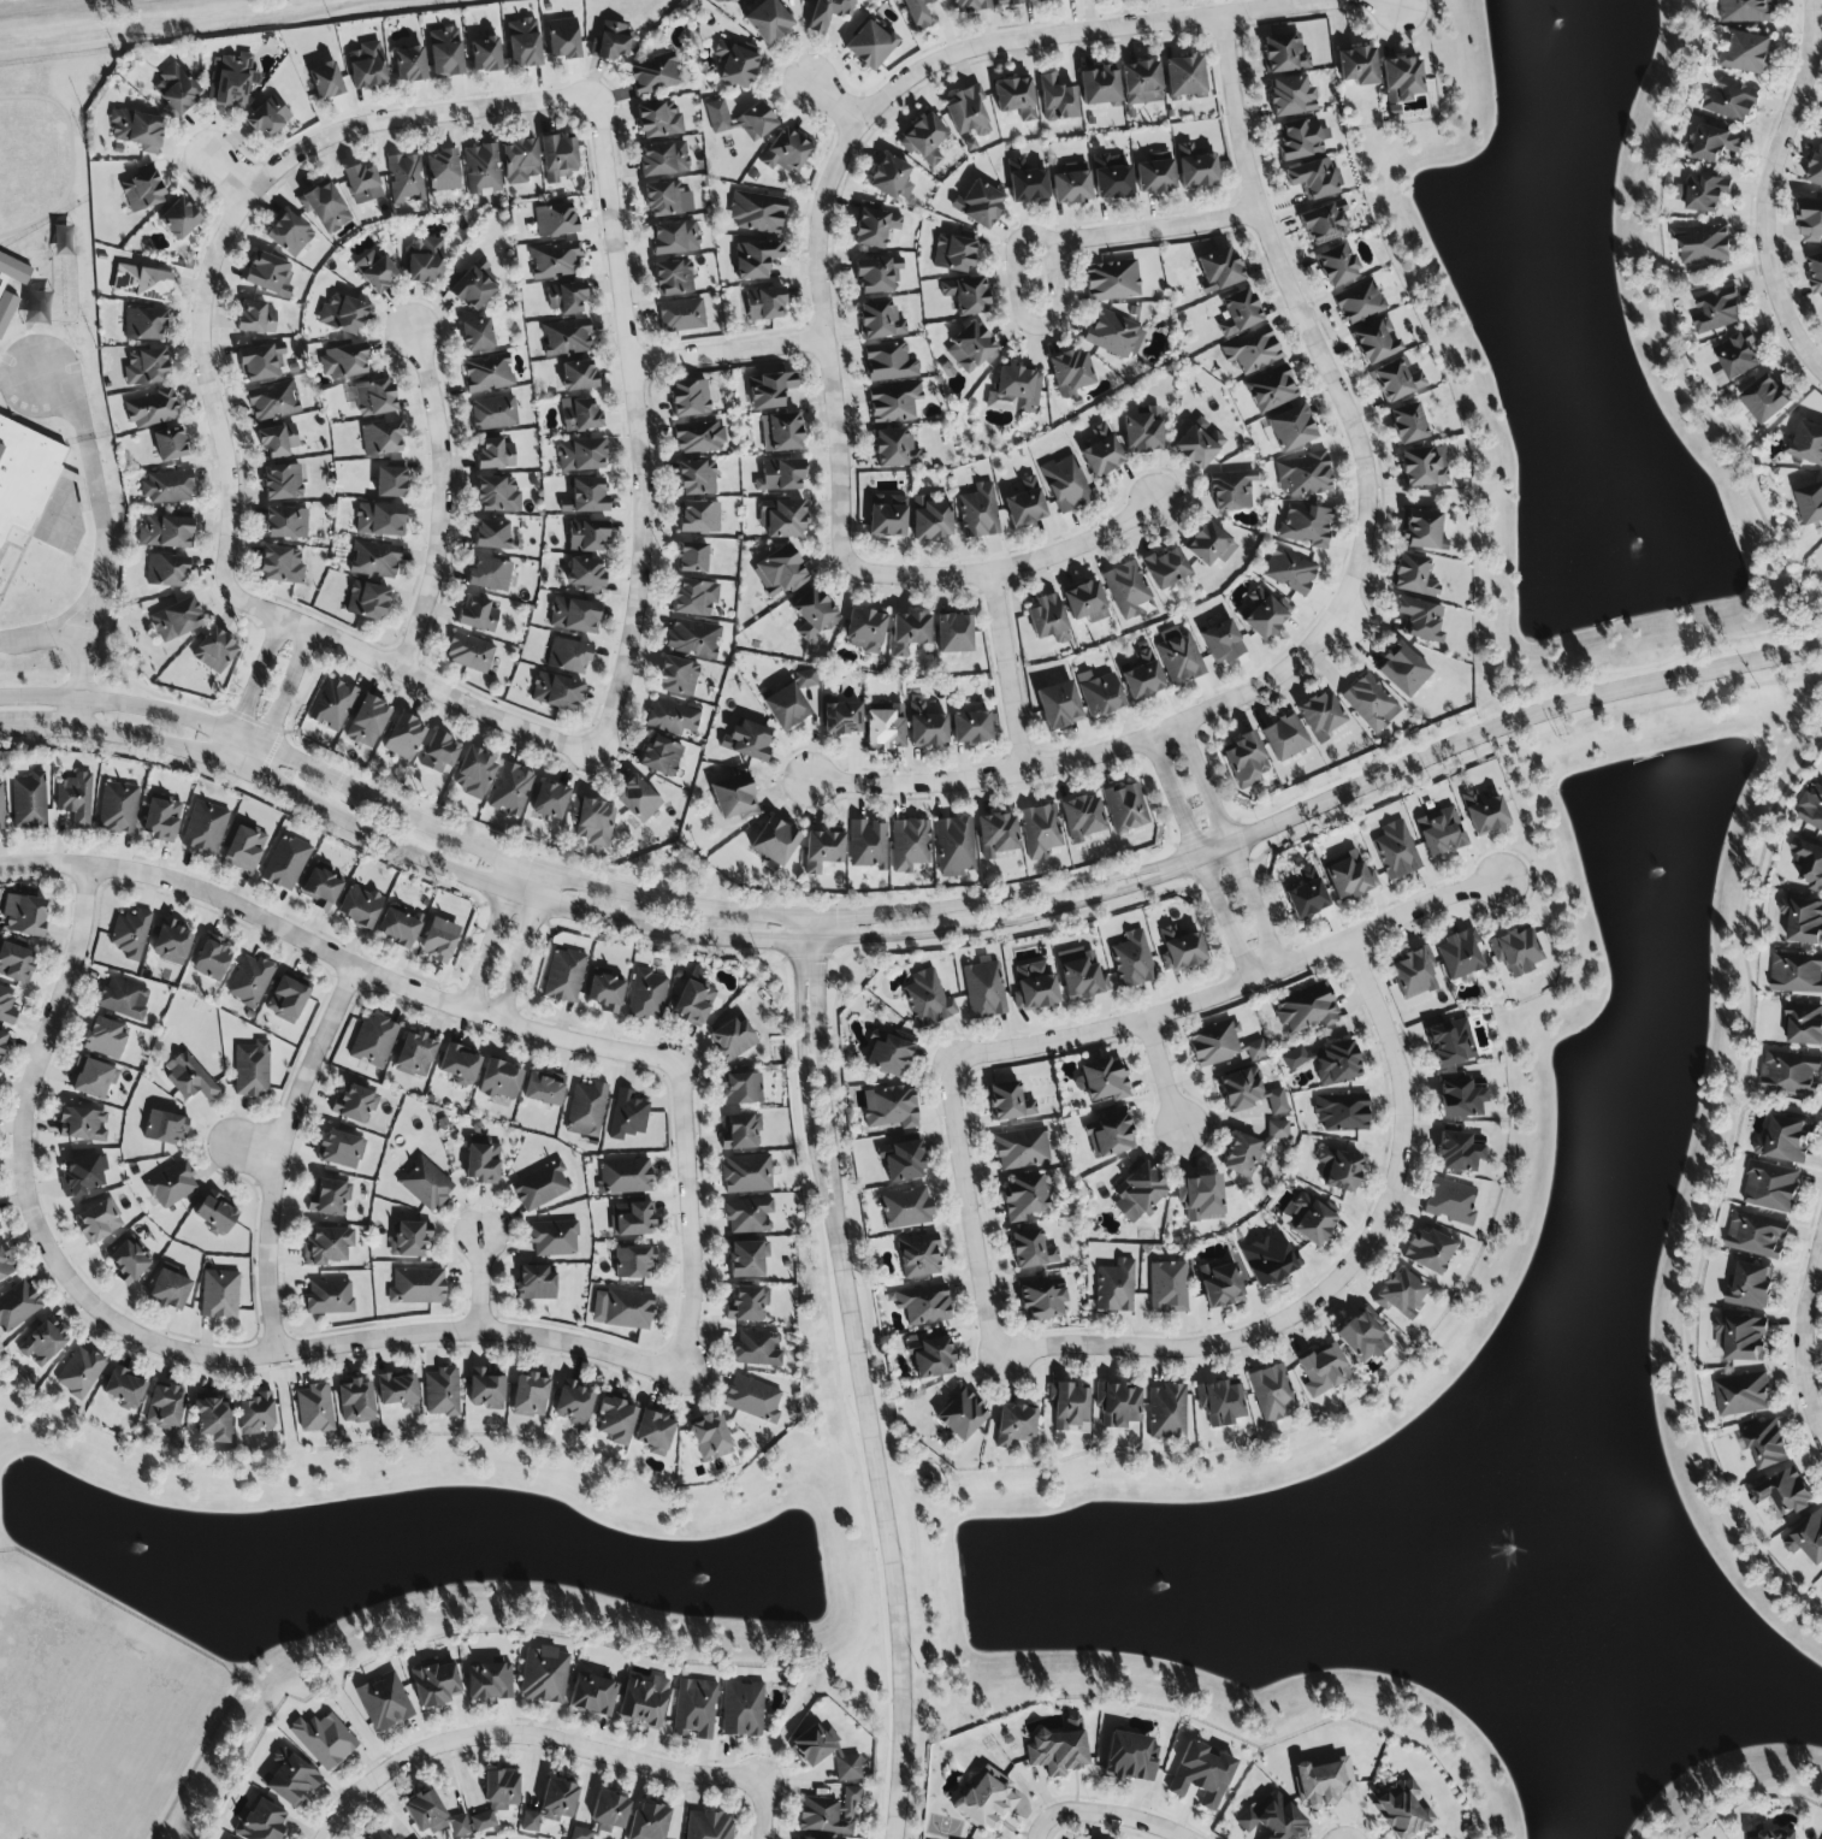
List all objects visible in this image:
building: (1043, 0)
road: (1390, 1)
road: (1402, 1)
building: (1011, 2)
building: (970, 6)
building: (1747, 11)
building: (828, 13)
building: (917, 13)
building: (768, 20)
fountain: (1567, 24)
road: (1092, 30)
road: (199, 32)
building: (562, 39)
building: (611, 42)
building: (523, 43)
building: (869, 45)
building: (444, 53)
building: (484, 54)
building: (1283, 54)
building: (1747, 54)
building: (409, 64)
building: (737, 64)
building: (366, 65)
building: (1357, 66)
building: (653, 75)
building: (1184, 77)
building: (233, 79)
building: (1402, 79)
building: (325, 81)
building: (1141, 83)
building: (1099, 87)
building: (176, 90)
building: (1290, 96)
building: (1014, 97)
building: (1055, 99)
road: (832, 101)
building: (1731, 102)
building: (968, 113)
building: (268, 117)
road: (413, 118)
building: (739, 119)
building: (658, 120)
building: (136, 130)
building: (1301, 138)
building: (1821, 138)
building: (923, 140)
building: (1716, 143)
building: (786, 152)
building: (557, 156)
building: (663, 159)
building: (520, 161)
building: (1195, 167)
road: (235, 168)
building: (483, 170)
building: (1816, 170)
building: (442, 171)
building: (1155, 173)
building: (404, 178)
building: (891, 178)
building: (1111, 178)
building: (1312, 178)
building: (1025, 183)
building: (362, 184)
building: (1071, 184)
road: (1767, 189)
building: (142, 191)
building: (1703, 194)
building: (667, 199)
building: (978, 205)
building: (325, 208)
building: (756, 212)
building: (178, 219)
building: (555, 220)
building: (1810, 221)
building: (1324, 223)
building: (875, 226)
road: (1152, 230)
building: (289, 233)
building: (673, 237)
building: (1702, 244)
building: (953, 253)
building: (755, 259)
building: (425, 260)
building: (555, 260)
building: (1336, 266)
building: (1218, 270)
building: (268, 273)
building: (375, 273)
building: (876, 274)
building: (1816, 274)
building: (673, 278)
building: (1111, 280)
road: (1714, 280)
building: (141, 283)
building: (473, 286)
building: (5, 295)
building: (966, 295)
building: (566, 297)
building: (1359, 302)
building: (764, 303)
building: (1238, 312)
building: (1717, 312)
building: (342, 314)
building: (681, 315)
road: (1023, 317)
building: (256, 318)
building: (880, 320)
building: (143, 324)
building: (477, 335)
building: (1113, 335)
building: (566, 337)
road: (823, 339)
road: (1670, 339)
building: (1376, 342)
building: (970, 349)
building: (1252, 350)
road: (728, 353)
building: (1738, 356)
building: (261, 361)
building: (342, 361)
building: (889, 362)
building: (146, 367)
building: (487, 373)
building: (1070, 373)
road: (1329, 374)
building: (578, 376)
building: (1396, 380)
road: (206, 382)
building: (1271, 389)
building: (769, 390)
building: (1014, 390)
building: (374, 397)
building: (690, 398)
building: (1765, 400)
building: (895, 403)
building: (150, 409)
building: (493, 413)
building: (580, 415)
building: (1407, 424)
road: (637, 426)
building: (1291, 428)
building: (1142, 430)
building: (781, 432)
building: (698, 437)
building: (381, 438)
building: (277, 440)
building: (168, 444)
building: (1199, 444)
building: (1806, 444)
building: (894, 449)
building: (1101, 451)
building: (495, 455)
building: (580, 455)
building: (1422, 467)
building: (24, 474)
building: (1303, 474)
building: (781, 475)
building: (697, 478)
building: (282, 481)
building: (390, 483)
building: (1065, 484)
building: (166, 487)
building: (1231, 490)
building: (497, 495)
building: (585, 496)
road: (440, 502)
building: (1025, 503)
building: (1810, 504)
building: (978, 512)
building: (699, 518)
building: (781, 518)
building: (887, 519)
building: (930, 519)
building: (379, 520)
building: (285, 522)
building: (1306, 526)
building: (1421, 531)
building: (165, 532)
fountain: (1633, 532)
building: (491, 534)
building: (586, 534)
road: (103, 544)
building: (1208, 544)
building: (692, 557)
building: (374, 560)
building: (280, 564)
road: (1007, 568)
building: (1165, 568)
building: (166, 570)
building: (1289, 570)
building: (780, 572)
building: (490, 574)
building: (586, 574)
building: (1413, 575)
building: (1125, 589)
building: (694, 597)
building: (366, 601)
building: (1084, 602)
building: (1261, 614)
building: (477, 615)
building: (574, 615)
building: (812, 615)
building: (1047, 619)
building: (176, 620)
building: (1419, 620)
building: (864, 631)
building: (909, 632)
building: (953, 633)
road: (40, 634)
building: (692, 638)
building: (1221, 643)
building: (214, 651)
building: (469, 654)
building: (568, 656)
building: (1178, 656)
building: (1401, 669)
road: (1006, 673)
road: (408, 674)
building: (1141, 675)
building: (678, 676)
building: (805, 679)
road: (253, 688)
building: (556, 692)
building: (1099, 693)
road: (285, 700)
building: (332, 703)
building: (1371, 703)
building: (1058, 705)
building: (786, 706)
building: (672, 716)
building: (1320, 716)
building: (841, 717)
building: (367, 722)
building: (925, 725)
building: (885, 726)
road: (1502, 726)
building: (970, 727)
building: (403, 738)
building: (1283, 738)
building: (747, 741)
building: (438, 753)
building: (661, 756)
building: (1244, 761)
road: (1037, 770)
building: (474, 774)
road: (1206, 785)
building: (510, 790)
building: (734, 797)
building: (75, 799)
building: (638, 799)
road: (1176, 799)
building: (29, 800)
building: (549, 800)
building: (1125, 808)
building: (117, 809)
building: (1, 810)
building: (1811, 810)
road: (400, 812)
building: (1484, 812)
building: (1081, 817)
building: (161, 818)
building: (592, 821)
building: (205, 828)
building: (1040, 830)
building: (1441, 832)
building: (995, 835)
road: (394, 841)
building: (774, 841)
building: (953, 844)
building: (866, 845)
building: (909, 845)
building: (244, 848)
building: (822, 850)
building: (1396, 851)
building: (285, 863)
building: (1809, 864)
building: (1348, 876)
fountain: (1657, 881)
building: (320, 888)
building: (1306, 894)
road: (1005, 897)
building: (359, 906)
road: (1258, 909)
building: (24, 915)
building: (1803, 921)
road: (1001, 922)
road: (1226, 922)
building: (397, 928)
building: (130, 934)
road: (490, 935)
building: (438, 940)
building: (172, 942)
road: (525, 945)
building: (1179, 950)
building: (1515, 951)
building: (1459, 954)
building: (212, 959)
building: (1131, 959)
building: (14, 963)
road: (338, 966)
building: (1079, 974)
building: (1412, 974)
building: (1796, 974)
building: (563, 976)
building: (249, 981)
building: (1034, 987)
building: (984, 991)
building: (604, 992)
road: (1231, 992)
building: (647, 995)
building: (123, 998)
building: (286, 999)
building: (927, 999)
building: (693, 1003)
building: (6, 1007)
building: (1306, 1007)
building: (1803, 1025)
building: (105, 1037)
building: (732, 1040)
building: (2, 1042)
building: (373, 1042)
building: (1214, 1042)
building: (1450, 1042)
building: (1255, 1049)
building: (889, 1053)
building: (415, 1054)
building: (1326, 1062)
building: (459, 1064)
road: (824, 1068)
building: (252, 1070)
road: (801, 1070)
road: (1164, 1074)
building: (1791, 1074)
building: (189, 1077)
building: (91, 1078)
building: (499, 1080)
building: (1102, 1080)
building: (544, 1088)
building: (741, 1089)
building: (1249, 1092)
building: (1460, 1096)
road: (1776, 1101)
building: (1007, 1102)
building: (355, 1105)
building: (891, 1106)
building: (586, 1110)
building: (1341, 1111)
building: (628, 1116)
building: (82, 1124)
building: (164, 1128)
building: (738, 1131)
building: (1108, 1136)
building: (1783, 1141)
road: (258, 1142)
building: (1021, 1148)
building: (1252, 1148)
building: (341, 1149)
building: (1459, 1149)
road: (276, 1155)
building: (901, 1160)
building: (483, 1164)
building: (1338, 1170)
building: (746, 1173)
building: (81, 1176)
building: (625, 1177)
building: (172, 1184)
building: (425, 1184)
road: (26, 1187)
building: (540, 1187)
building: (1770, 1188)
road: (1712, 1189)
building: (1138, 1193)
building: (329, 1198)
building: (1022, 1198)
building: (1200, 1199)
building: (1450, 1201)
building: (906, 1208)
road: (970, 1210)
building: (215, 1213)
building: (749, 1216)
road: (693, 1218)
building: (629, 1219)
building: (1309, 1219)
building: (97, 1220)
building: (1756, 1236)
building: (408, 1238)
building: (554, 1238)
building: (325, 1246)
building: (1031, 1250)
building: (1427, 1250)
building: (918, 1255)
building: (1268, 1259)
building: (745, 1260)
building: (128, 1261)
building: (633, 1263)
building: (4, 1266)
road: (484, 1278)
road: (1341, 1279)
building: (536, 1283)
building: (1220, 1284)
building: (416, 1287)
building: (1116, 1287)
building: (1167, 1287)
building: (1750, 1288)
building: (170, 1290)
building: (219, 1294)
building: (1401, 1294)
building: (329, 1296)
building: (1041, 1297)
building: (747, 1303)
building: (923, 1305)
building: (17, 1306)
building: (622, 1308)
road: (486, 1331)
building: (1362, 1336)
building: (1743, 1338)
road: (1805, 1338)
building: (42, 1343)
building: (757, 1349)
building: (930, 1354)
building: (1323, 1370)
building: (79, 1372)
building: (124, 1389)
building: (397, 1390)
building: (485, 1390)
building: (442, 1392)
building: (1271, 1392)
building: (1741, 1395)
building: (530, 1396)
building: (752, 1399)
building: (355, 1402)
building: (1220, 1402)
building: (574, 1403)
building: (1069, 1405)
building: (1117, 1405)
building: (164, 1408)
building: (314, 1409)
building: (1167, 1412)
building: (960, 1413)
building: (255, 1414)
building: (212, 1419)
building: (615, 1421)
building: (1014, 1425)
building: (655, 1432)
building: (710, 1436)
building: (1764, 1443)
building: (1783, 1494)
road: (888, 1528)
building: (1808, 1539)
fountain: (144, 1541)
fountain: (1512, 1555)
fountain: (1165, 1567)
fountain: (708, 1583)
building: (543, 1675)
building: (489, 1681)
building: (433, 1683)
building: (592, 1695)
building: (384, 1702)
building: (643, 1702)
building: (694, 1709)
building: (741, 1709)
road: (523, 1735)
building: (324, 1739)
building: (811, 1745)
building: (1058, 1748)
building: (1130, 1757)
building: (847, 1767)
building: (1201, 1775)
building: (290, 1779)
building: (1323, 1784)
road: (1744, 1793)
building: (848, 1797)
building: (497, 1798)
building: (986, 1798)
building: (551, 1804)
building: (1401, 1810)
building: (609, 1811)
road: (764, 1811)
building: (432, 1815)
road: (1108, 1815)
building: (822, 1817)
building: (1271, 1817)
building: (260, 1821)
building: (649, 1821)
building: (708, 1826)
building: (580, 1833)
building: (377, 1835)
building: (1779, 1835)
building: (801, 1838)

